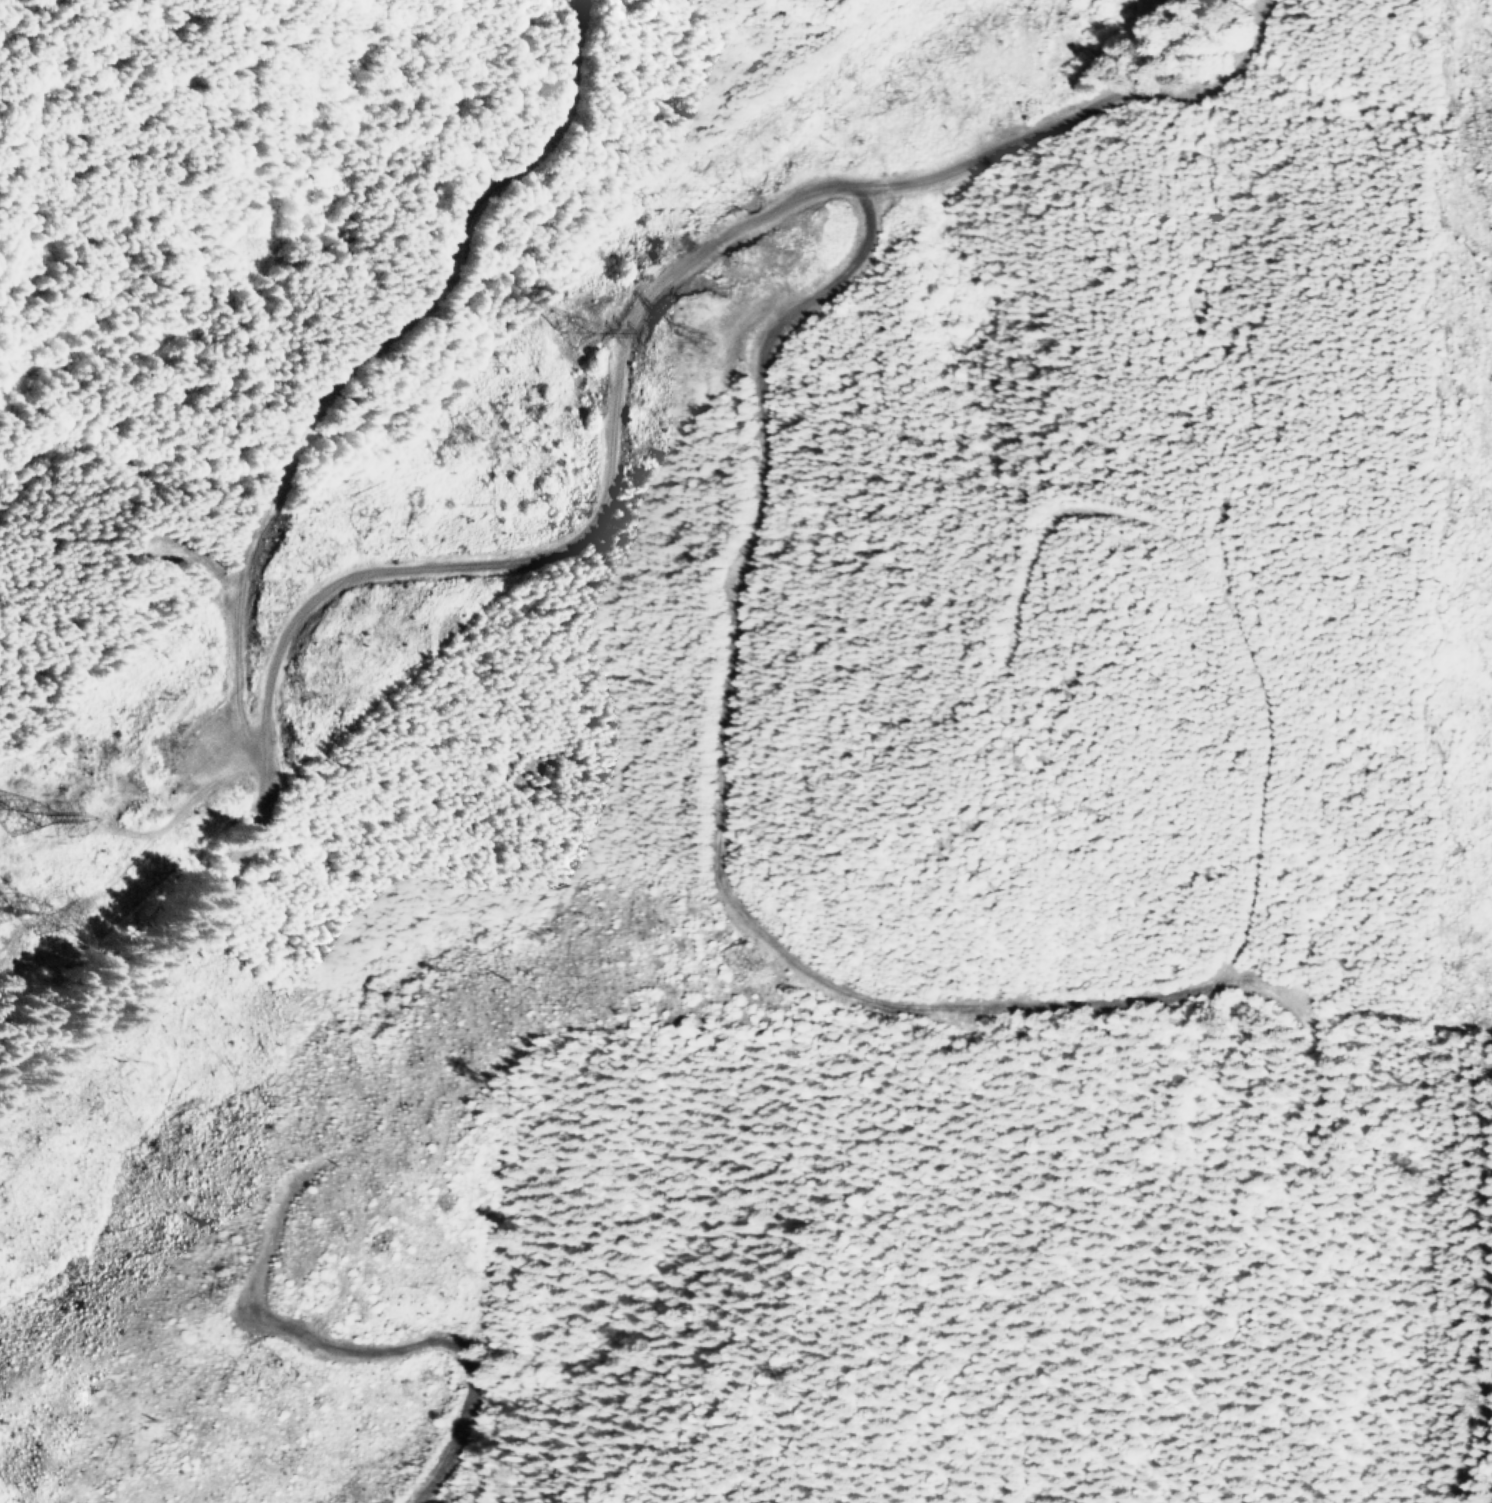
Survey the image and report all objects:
power tower: (580, 340)
power tower: (709, 343)
road: (606, 485)
power tower: (20, 837)
power tower: (40, 941)

